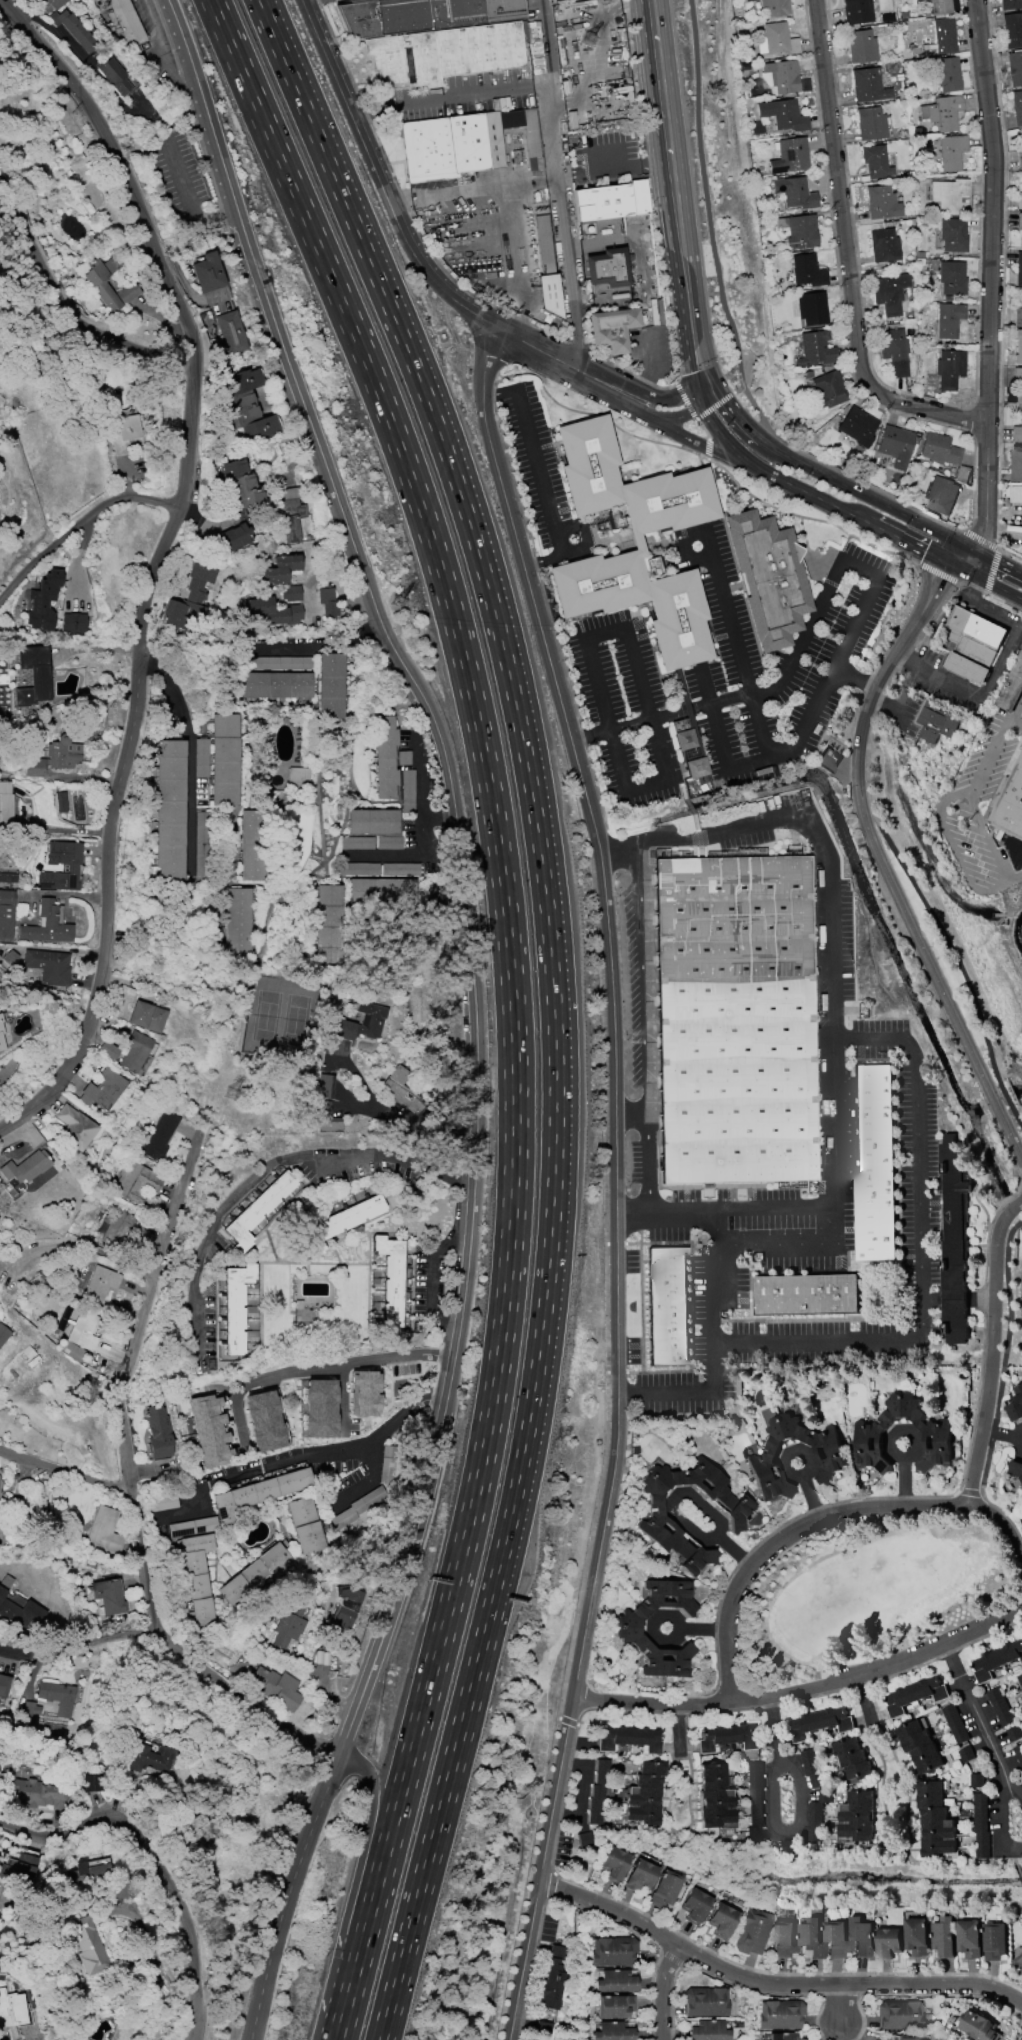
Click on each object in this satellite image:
building: (554, 0)
building: (750, 0)
road: (626, 2)
building: (55, 3)
building: (1009, 4)
building: (776, 7)
building: (939, 7)
building: (866, 13)
road: (598, 14)
building: (421, 15)
building: (123, 21)
building: (74, 30)
building: (1012, 30)
building: (945, 36)
power tower: (587, 38)
building: (777, 40)
road: (164, 45)
building: (862, 46)
building: (449, 51)
building: (1015, 68)
building: (949, 75)
building: (114, 77)
building: (781, 77)
building: (869, 85)
road: (447, 95)
building: (1017, 107)
road: (663, 108)
building: (943, 113)
building: (784, 115)
building: (871, 124)
building: (464, 144)
building: (952, 151)
building: (791, 156)
building: (1020, 160)
building: (877, 162)
road: (595, 165)
road: (377, 179)
road: (558, 182)
road: (472, 189)
road: (705, 193)
building: (796, 193)
building: (949, 194)
road: (187, 198)
building: (611, 201)
building: (1019, 201)
building: (882, 203)
building: (1020, 220)
building: (801, 230)
building: (953, 235)
building: (884, 246)
road: (846, 258)
road: (519, 261)
building: (606, 268)
building: (1019, 269)
building: (547, 271)
building: (808, 271)
building: (208, 273)
building: (952, 278)
road: (980, 278)
building: (105, 279)
road: (61, 290)
building: (890, 293)
road: (689, 302)
building: (813, 308)
building: (1018, 316)
building: (949, 320)
building: (613, 329)
building: (232, 333)
building: (1018, 346)
building: (817, 348)
building: (894, 351)
road: (565, 364)
road: (651, 364)
building: (949, 369)
building: (1018, 385)
traffic signals: (706, 387)
road: (737, 389)
building: (828, 390)
road: (671, 397)
road: (713, 406)
building: (247, 407)
road: (639, 407)
road: (689, 408)
road: (680, 414)
road: (759, 414)
road: (736, 419)
building: (858, 428)
road: (703, 429)
road: (718, 429)
building: (1018, 431)
building: (124, 433)
road: (707, 443)
road: (703, 445)
building: (896, 446)
building: (940, 449)
road: (533, 453)
building: (1016, 463)
building: (961, 474)
building: (243, 483)
building: (629, 484)
building: (1016, 493)
building: (943, 495)
road: (867, 496)
building: (290, 512)
road: (849, 514)
road: (583, 532)
road: (83, 536)
building: (233, 538)
traffic signals: (964, 545)
road: (977, 551)
road: (956, 554)
road: (158, 556)
road: (543, 560)
traffic signals: (948, 564)
road: (1006, 566)
road: (984, 568)
building: (282, 570)
road: (963, 571)
road: (833, 572)
building: (768, 577)
road: (719, 583)
road: (1000, 589)
building: (291, 593)
building: (191, 599)
building: (326, 599)
building: (43, 600)
power tower: (396, 601)
building: (639, 601)
building: (275, 611)
building: (73, 623)
building: (972, 643)
road: (312, 646)
building: (284, 663)
road: (992, 672)
building: (34, 676)
road: (637, 676)
building: (276, 685)
building: (331, 686)
building: (1012, 686)
road: (894, 706)
road: (753, 707)
road: (895, 717)
building: (934, 718)
road: (1016, 719)
road: (628, 721)
building: (63, 754)
road: (193, 754)
building: (691, 755)
road: (775, 755)
building: (385, 757)
building: (201, 758)
building: (224, 760)
building: (827, 761)
building: (35, 767)
building: (297, 777)
road: (420, 788)
building: (407, 791)
road: (968, 791)
building: (5, 803)
building: (1009, 803)
building: (171, 811)
building: (372, 821)
road: (51, 829)
road: (820, 840)
road: (956, 842)
building: (358, 843)
building: (389, 843)
building: (253, 845)
road: (618, 849)
road: (403, 852)
road: (881, 864)
building: (62, 867)
building: (401, 869)
building: (7, 878)
building: (382, 891)
building: (6, 913)
building: (239, 921)
building: (48, 924)
building: (329, 924)
building: (12, 957)
building: (49, 966)
road: (639, 980)
road: (515, 1004)
road: (552, 1004)
road: (612, 1004)
road: (474, 1009)
building: (147, 1016)
building: (735, 1019)
building: (337, 1022)
building: (1, 1034)
building: (108, 1051)
building: (136, 1053)
building: (324, 1086)
building: (102, 1090)
building: (400, 1091)
road: (912, 1094)
power tower: (237, 1095)
road: (627, 1117)
building: (326, 1118)
road: (408, 1123)
building: (74, 1127)
building: (159, 1136)
building: (874, 1162)
road: (644, 1163)
building: (24, 1167)
road: (270, 1175)
building: (143, 1181)
building: (257, 1210)
road: (726, 1210)
road: (170, 1214)
building: (339, 1223)
building: (954, 1238)
road: (433, 1277)
building: (390, 1278)
building: (100, 1283)
building: (806, 1294)
building: (667, 1306)
building: (235, 1307)
building: (83, 1329)
building: (3, 1334)
road: (712, 1342)
building: (72, 1350)
road: (990, 1350)
road: (345, 1366)
building: (363, 1393)
building: (1016, 1405)
building: (317, 1409)
building: (263, 1421)
building: (209, 1430)
building: (157, 1432)
building: (936, 1444)
road: (304, 1454)
building: (832, 1456)
building: (388, 1464)
building: (1015, 1468)
road: (65, 1474)
road: (367, 1480)
road: (128, 1485)
building: (258, 1493)
building: (358, 1507)
building: (655, 1517)
road: (820, 1518)
building: (306, 1525)
building: (193, 1527)
building: (103, 1532)
building: (256, 1573)
building: (197, 1577)
building: (108, 1596)
building: (18, 1612)
building: (338, 1620)
building: (289, 1626)
building: (626, 1627)
road: (84, 1634)
building: (996, 1659)
building: (1020, 1678)
building: (4, 1685)
building: (277, 1688)
road: (803, 1690)
building: (915, 1694)
building: (57, 1697)
building: (999, 1706)
road: (973, 1708)
building: (30, 1709)
building: (820, 1722)
building: (955, 1723)
road: (772, 1727)
building: (1014, 1732)
building: (728, 1737)
building: (628, 1738)
building: (920, 1746)
building: (966, 1753)
building: (1018, 1753)
building: (852, 1757)
building: (149, 1758)
building: (812, 1767)
building: (92, 1783)
road: (798, 1789)
building: (598, 1791)
building: (643, 1794)
building: (825, 1794)
building: (40, 1795)
building: (714, 1797)
road: (773, 1797)
building: (755, 1800)
road: (1000, 1803)
building: (857, 1815)
building: (980, 1817)
building: (936, 1819)
building: (815, 1820)
building: (583, 1839)
building: (613, 1864)
building: (20, 1867)
road: (160, 1867)
road: (540, 1868)
building: (88, 1872)
building: (639, 1874)
road: (355, 1888)
building: (663, 1889)
building: (693, 1905)
building: (720, 1920)
building: (750, 1932)
building: (918, 1935)
building: (945, 1936)
building: (862, 1937)
building: (784, 1938)
building: (812, 1938)
building: (970, 1938)
building: (836, 1939)
building: (995, 1940)
building: (889, 1942)
building: (90, 1946)
building: (613, 1951)
building: (1021, 1951)
building: (1018, 1961)
building: (552, 1979)
building: (614, 1981)
road: (769, 1987)
road: (665, 1992)
building: (705, 2001)
road: (839, 2004)
building: (614, 2006)
building: (13, 2009)
building: (779, 2014)
building: (899, 2015)
building: (978, 2025)
building: (542, 2028)
building: (613, 2031)
building: (707, 2031)
building: (782, 2036)
building: (904, 2038)

